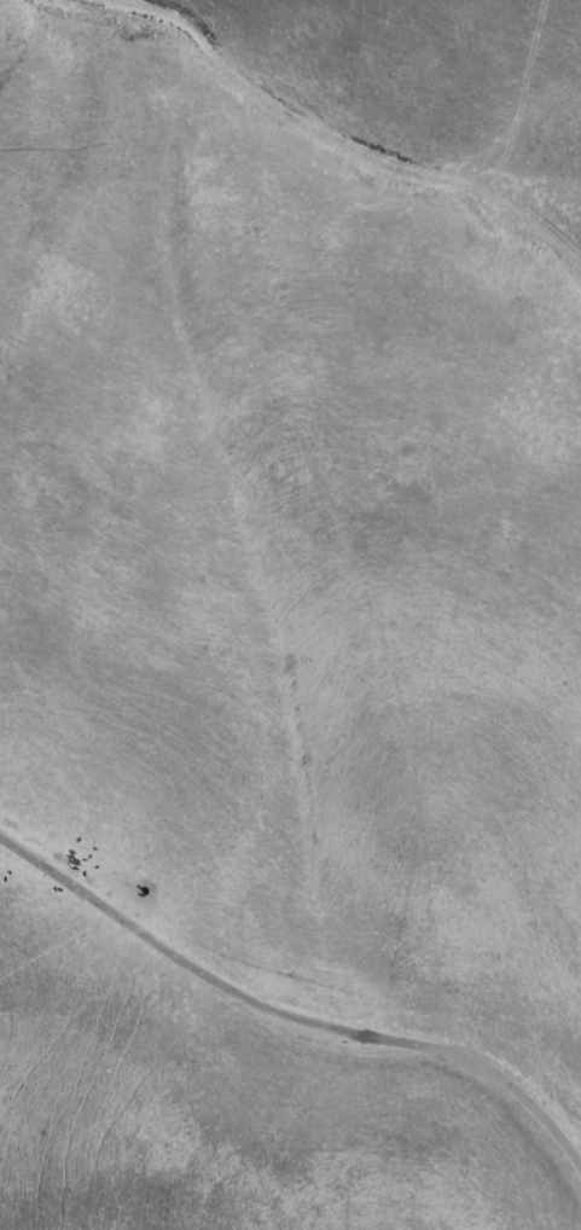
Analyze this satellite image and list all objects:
road: (291, 1015)

